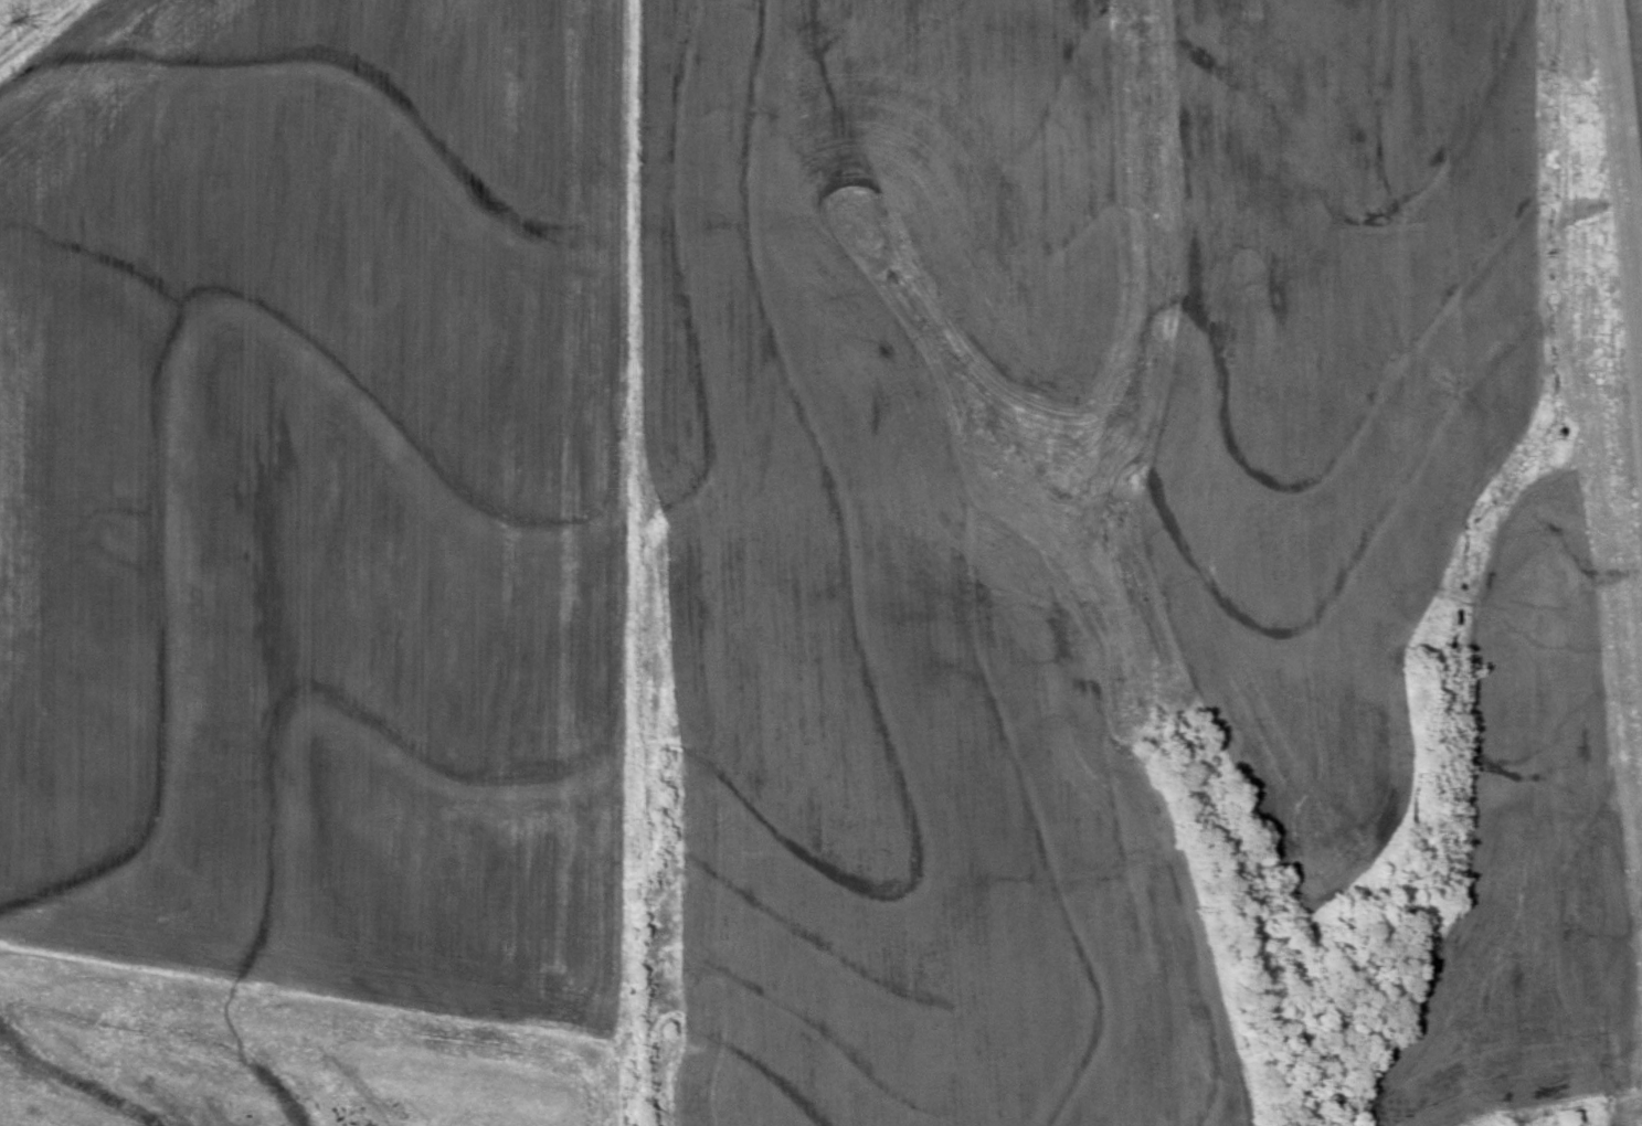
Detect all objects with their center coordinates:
crop: (1337, 379)
crop: (321, 499)
airport: (1135, 563)
crop: (892, 597)

